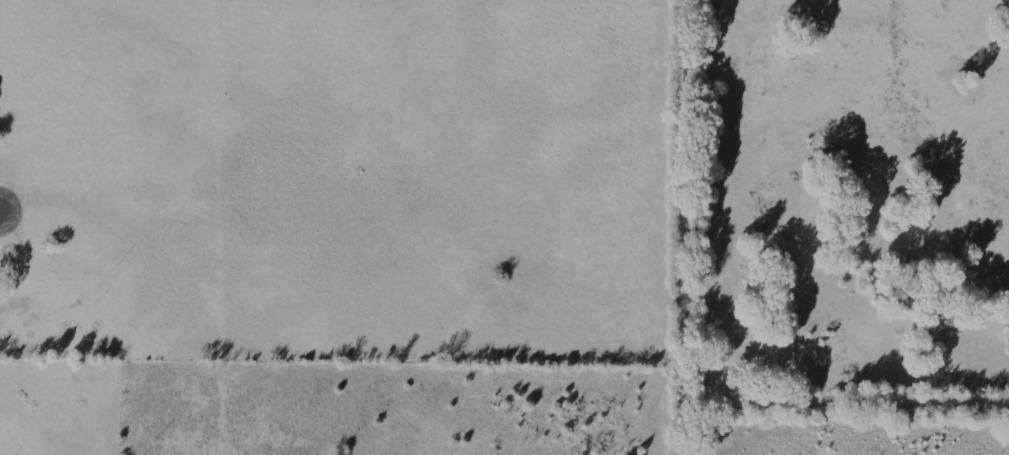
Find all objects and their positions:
road: (689, 227)

